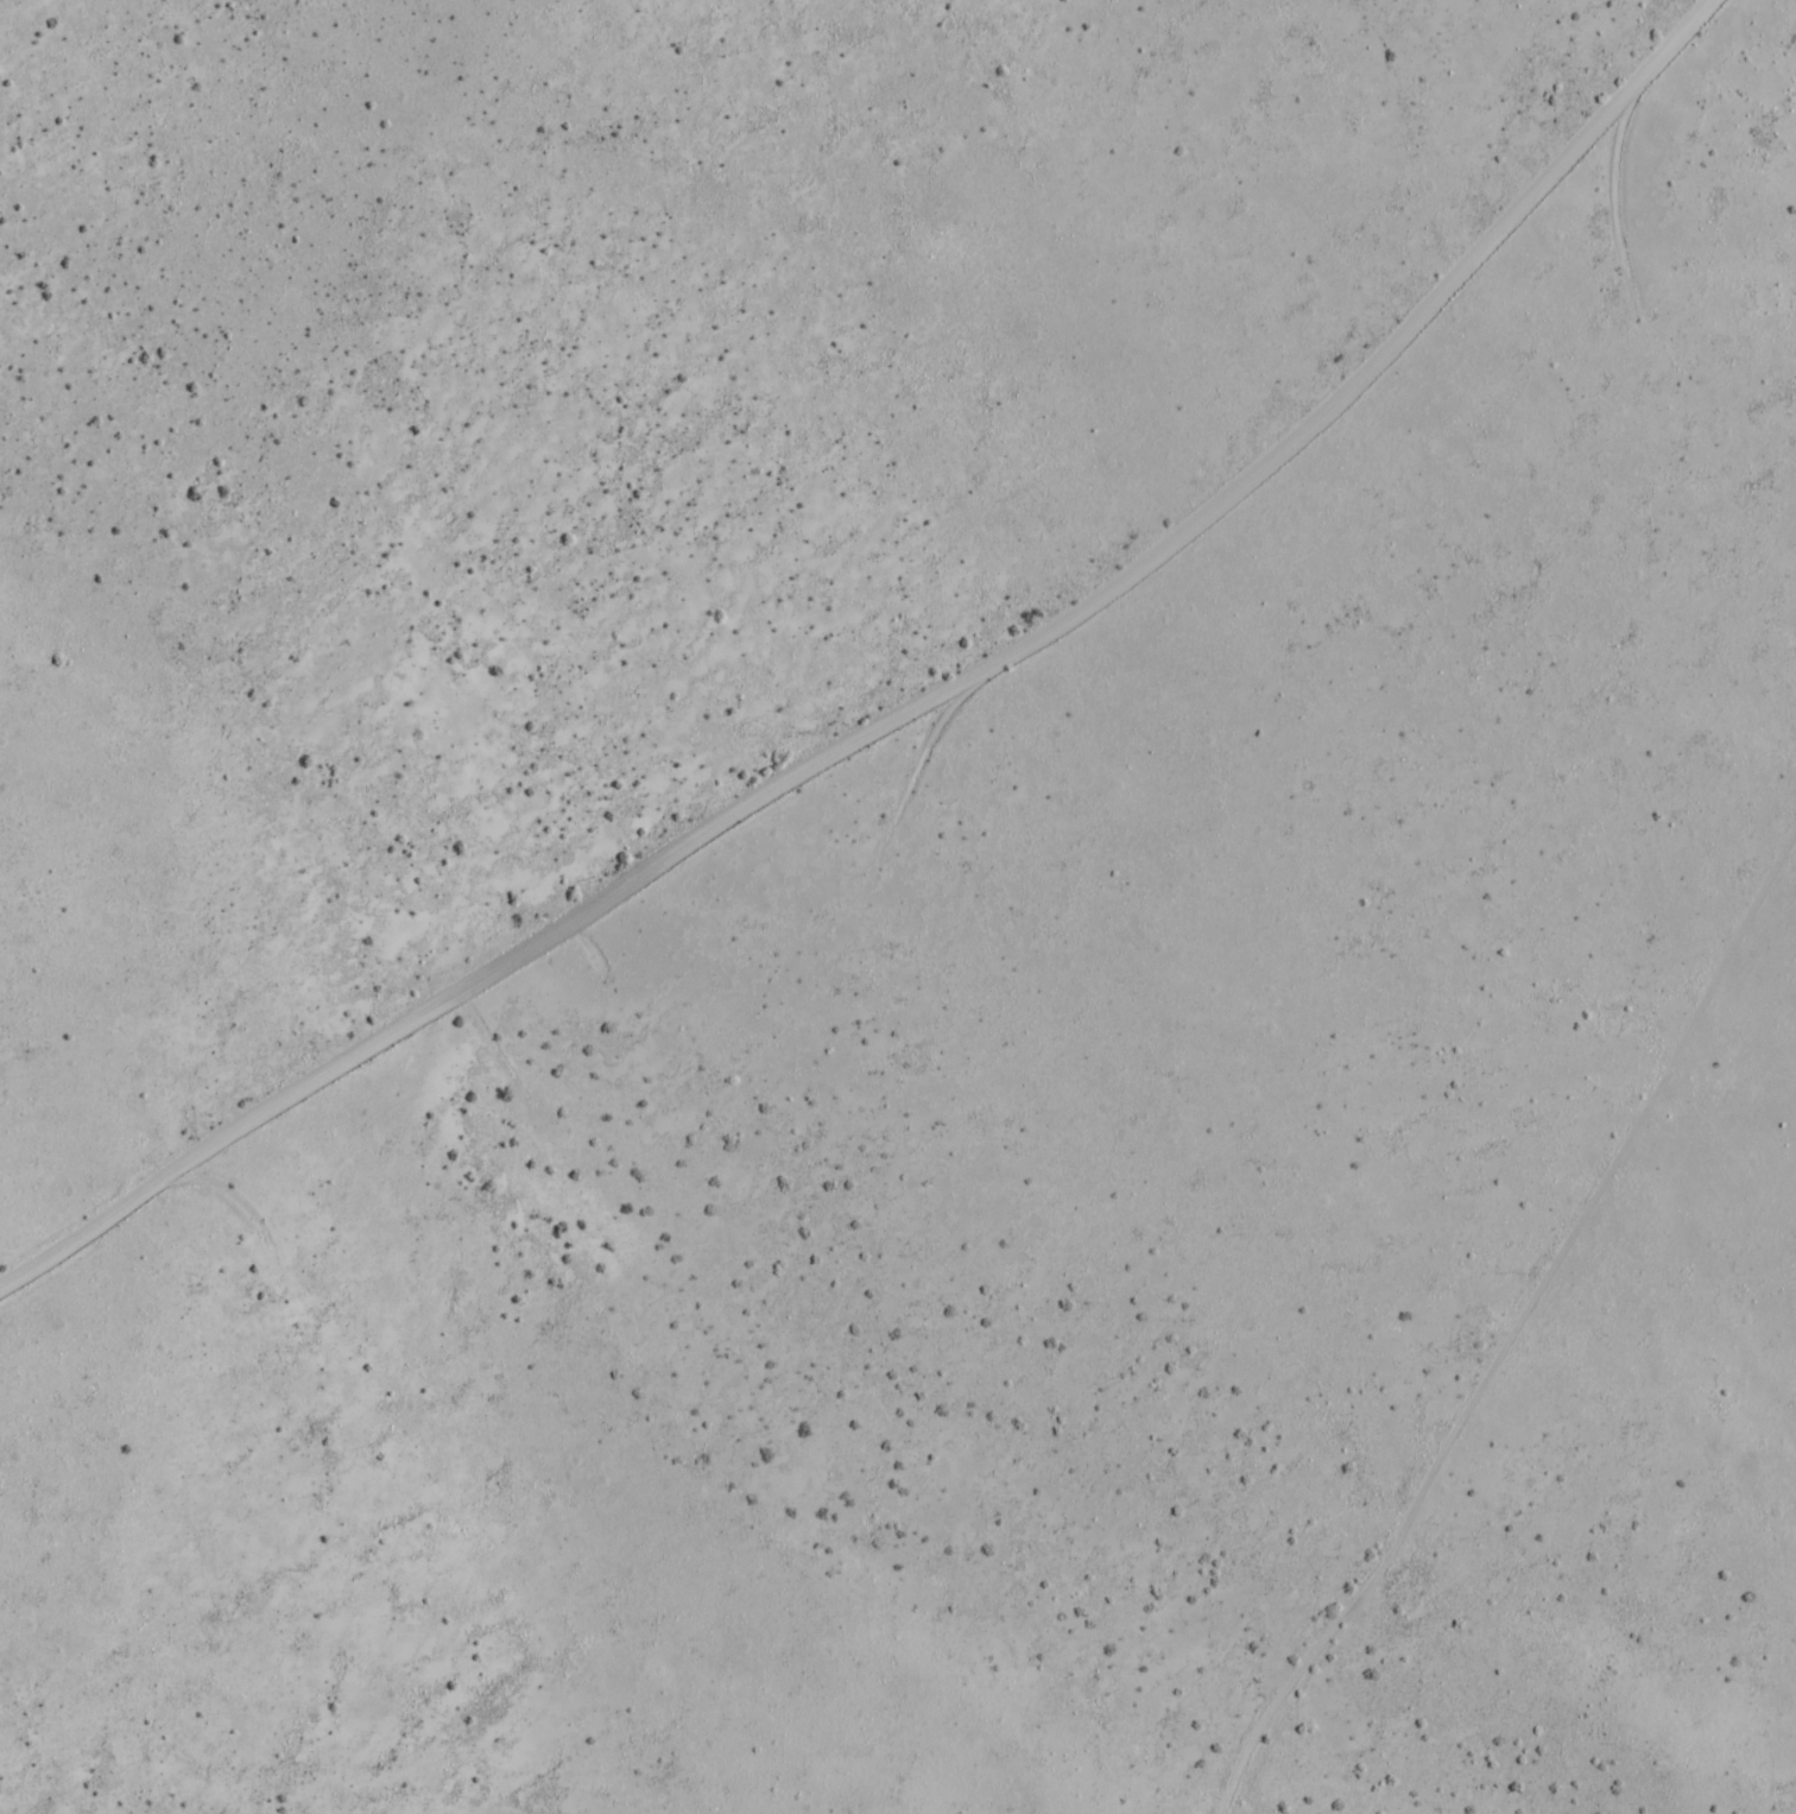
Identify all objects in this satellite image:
road: (911, 712)
road: (1402, 885)
road: (1524, 1321)

